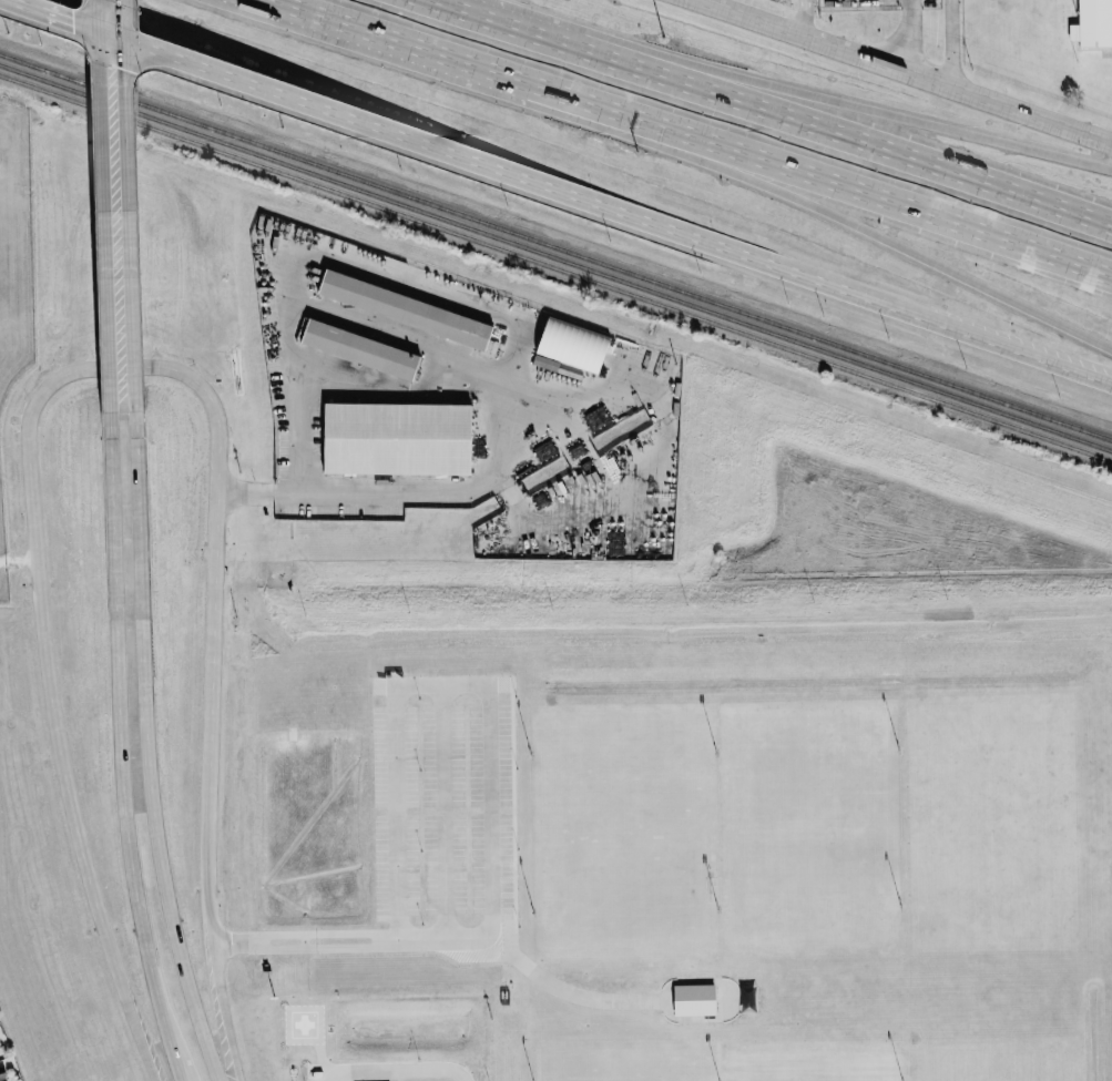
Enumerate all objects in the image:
road: (710, 6)
road: (60, 14)
road: (104, 16)
road: (807, 18)
traffic signals: (71, 19)
building: (1093, 23)
road: (534, 29)
road: (907, 35)
road: (951, 43)
traffic signals: (131, 72)
road: (499, 77)
road: (920, 77)
road: (255, 83)
road: (867, 106)
road: (865, 144)
road: (131, 204)
road: (109, 220)
road: (920, 220)
railway: (555, 247)
road: (920, 254)
railway: (554, 261)
road: (758, 262)
railway: (555, 267)
building: (407, 309)
building: (575, 346)
building: (363, 349)
road: (508, 419)
building: (400, 439)
road: (18, 559)
road: (47, 677)
road: (484, 697)
road: (211, 708)
road: (121, 747)
road: (146, 749)
road: (440, 813)
road: (376, 939)
road: (235, 940)
road: (563, 993)
building: (696, 999)
road: (397, 1067)
road: (186, 1071)
building: (3, 1074)

